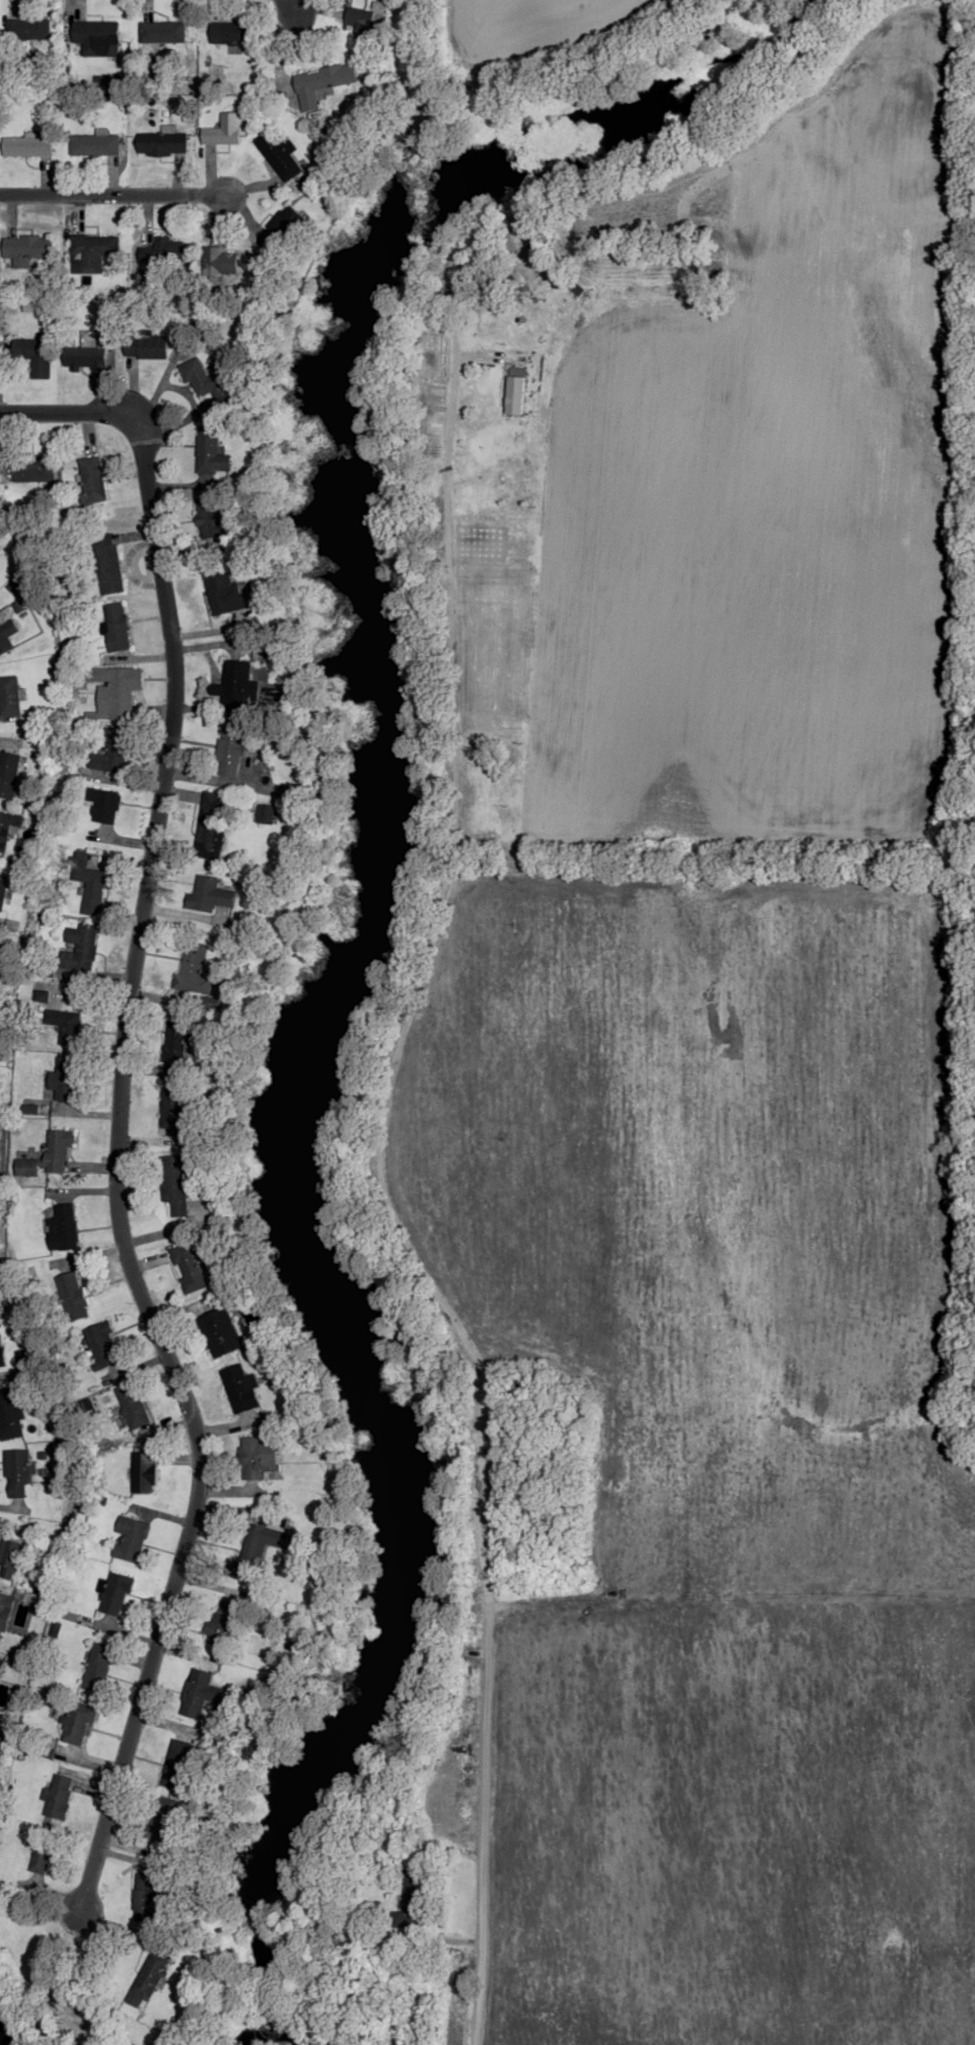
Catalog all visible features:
building: (364, 21)
building: (30, 29)
building: (164, 31)
building: (234, 32)
building: (97, 38)
building: (323, 82)
building: (224, 129)
building: (163, 143)
building: (95, 144)
building: (28, 146)
building: (280, 154)
road: (114, 197)
building: (28, 246)
building: (93, 251)
building: (164, 251)
building: (221, 261)
building: (146, 346)
building: (36, 355)
building: (87, 356)
building: (211, 381)
building: (516, 394)
building: (209, 450)
building: (37, 470)
building: (93, 479)
building: (209, 517)
building: (109, 563)
building: (224, 592)
building: (118, 626)
building: (4, 636)
building: (235, 686)
building: (116, 689)
building: (10, 695)
building: (115, 749)
building: (231, 750)
building: (8, 773)
building: (105, 805)
building: (212, 824)
building: (8, 827)
building: (91, 885)
building: (2, 891)
building: (211, 894)
building: (80, 947)
building: (197, 968)
building: (66, 1025)
building: (177, 1041)
building: (2, 1053)
building: (66, 1078)
building: (174, 1110)
road: (115, 1111)
building: (50, 1155)
building: (175, 1183)
building: (64, 1227)
building: (189, 1266)
building: (74, 1296)
building: (221, 1332)
building: (104, 1345)
building: (1, 1352)
building: (242, 1388)
building: (134, 1405)
building: (12, 1414)
building: (260, 1457)
building: (145, 1472)
building: (18, 1473)
building: (132, 1538)
building: (260, 1549)
building: (11, 1558)
building: (117, 1594)
road: (509, 1600)
building: (5, 1612)
building: (223, 1623)
building: (1, 1666)
building: (99, 1668)
building: (195, 1694)
building: (77, 1724)
building: (178, 1763)
building: (59, 1796)
building: (43, 1855)
building: (147, 1896)
building: (414, 1900)
building: (150, 1977)
road: (13, 2024)

